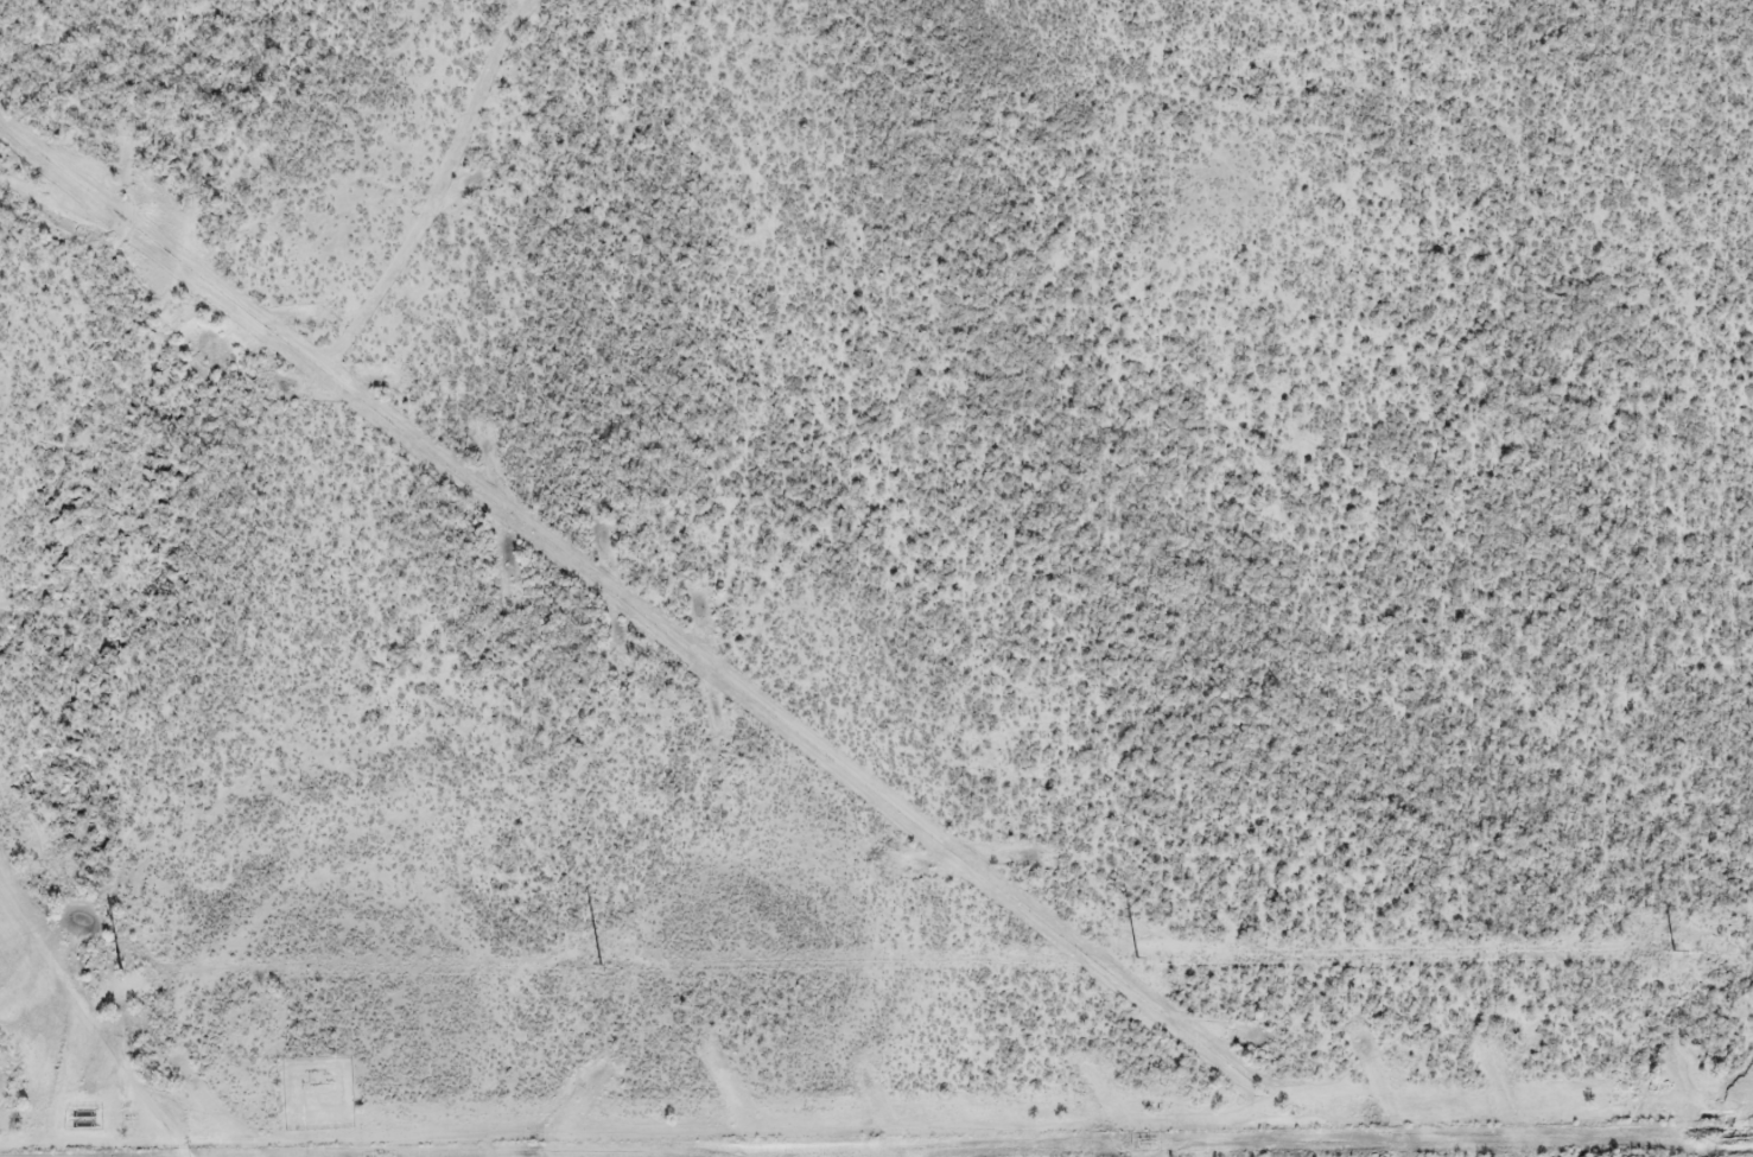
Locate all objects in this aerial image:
power tower: (1673, 951)
power tower: (1138, 955)
power tower: (597, 961)
power tower: (120, 971)

